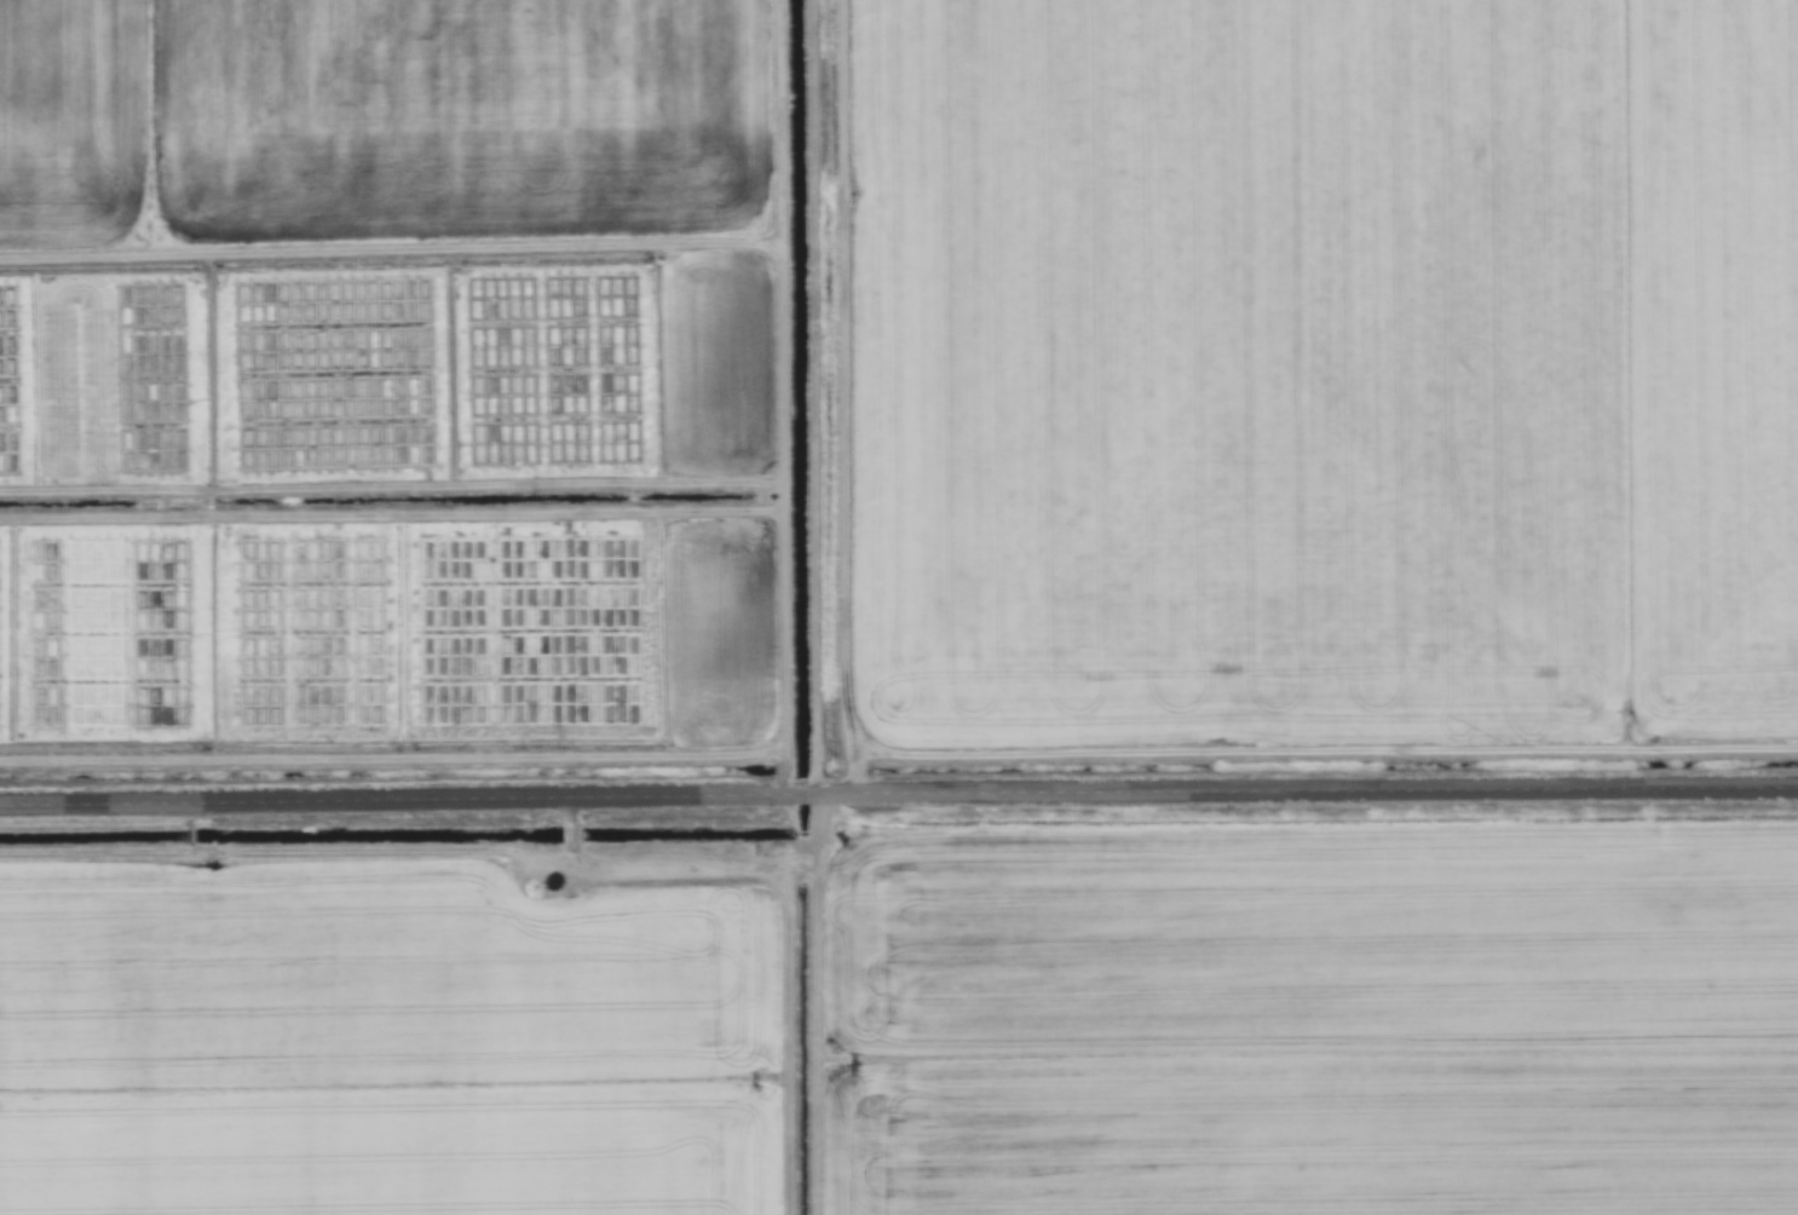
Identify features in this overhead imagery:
road: (898, 801)

